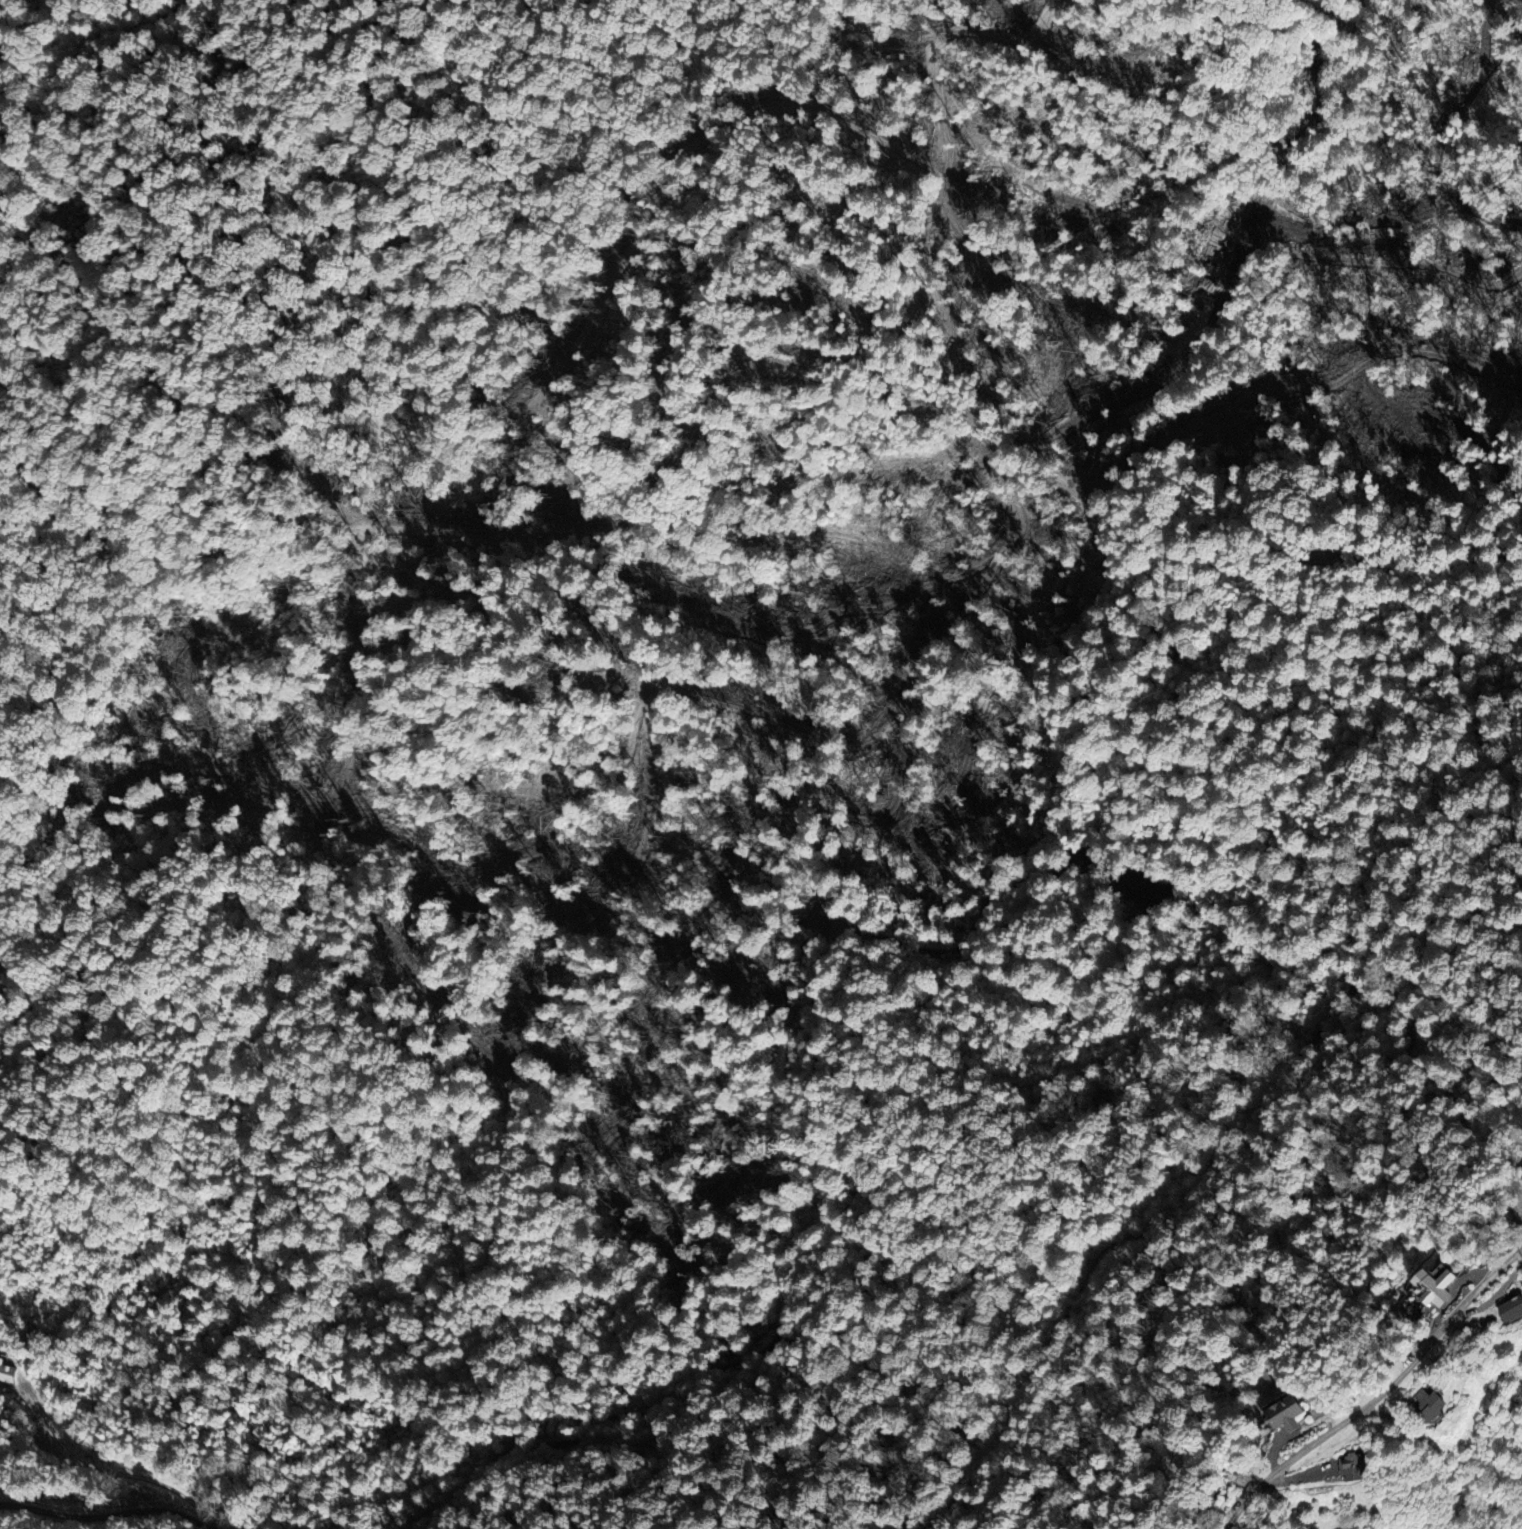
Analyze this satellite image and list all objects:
building: (1451, 1286)
building: (1520, 1307)
building: (8, 1373)
road: (1378, 1398)
building: (1445, 1403)
building: (1296, 1414)
road: (536, 1449)
building: (1364, 1468)
road: (100, 1513)

